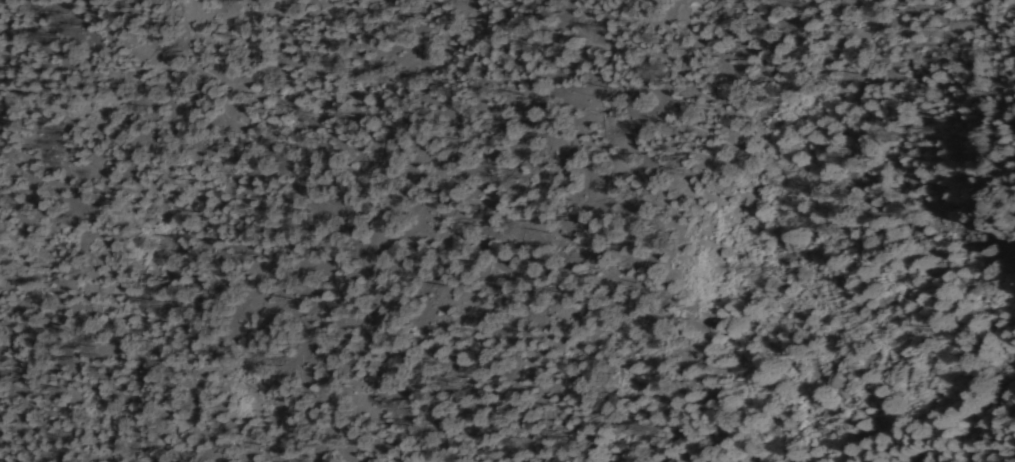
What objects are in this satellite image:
road: (569, 40)
road: (186, 57)

